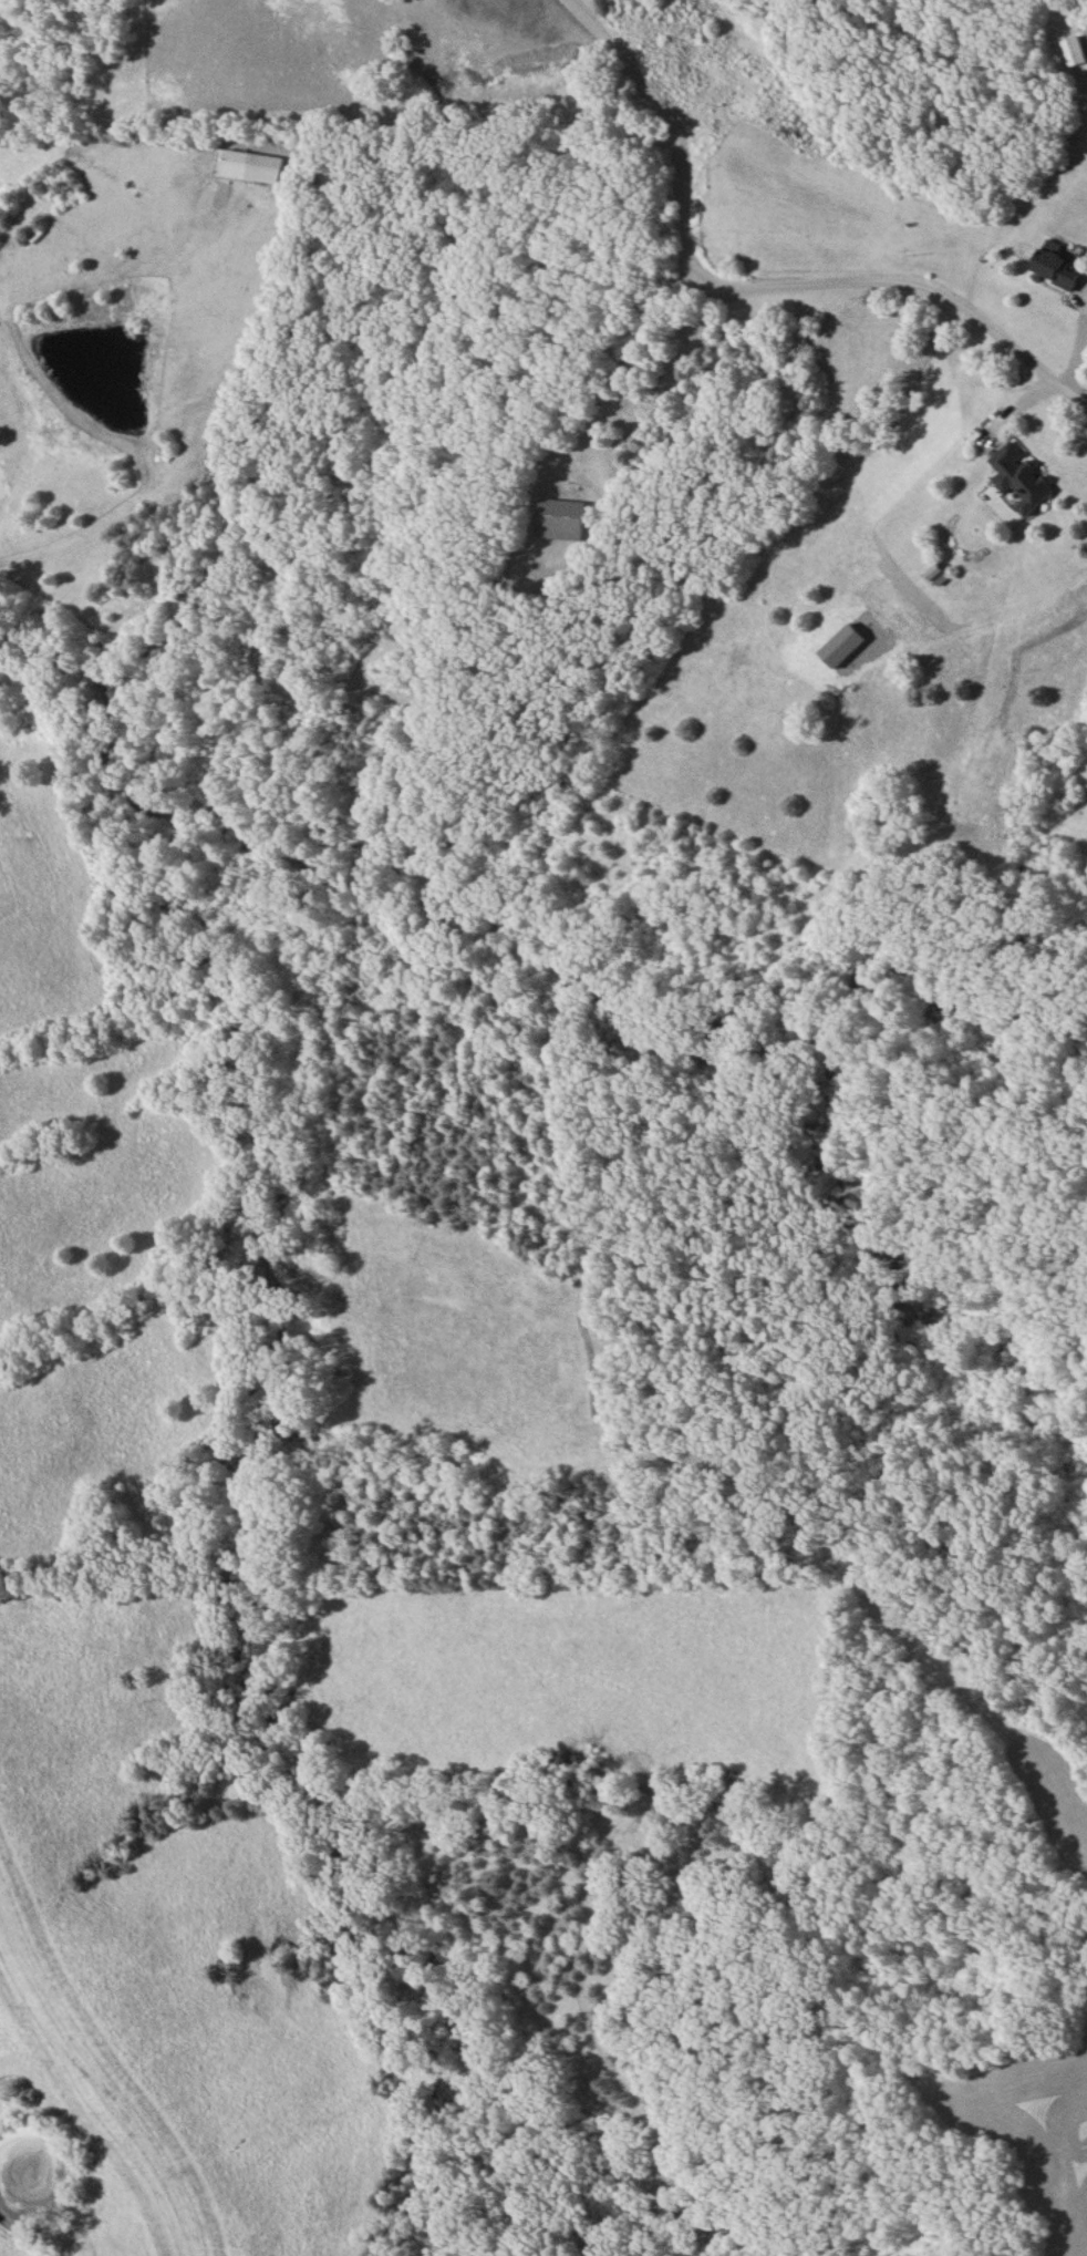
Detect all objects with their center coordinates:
building: (1074, 52)
building: (266, 166)
building: (1053, 265)
road: (753, 288)
building: (1018, 480)
building: (562, 519)

